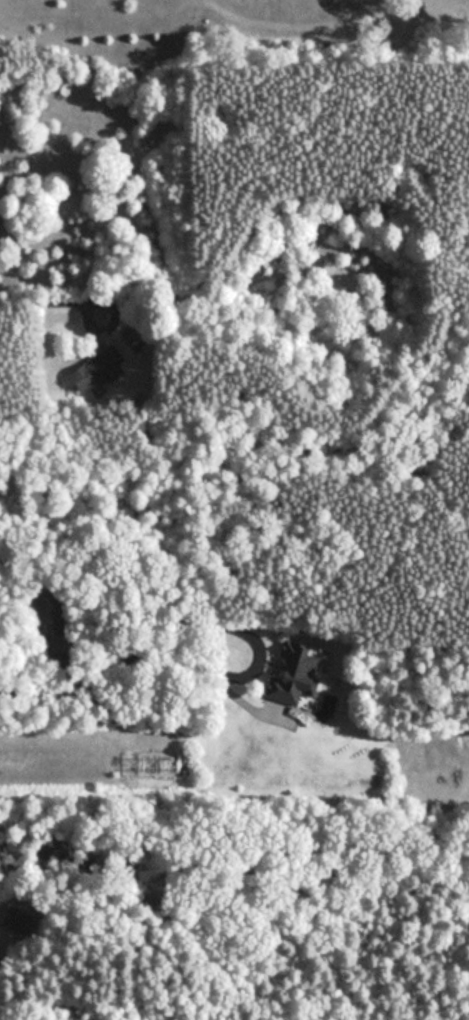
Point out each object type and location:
road: (50, 300)
building: (100, 364)
building: (297, 683)
power tower: (196, 769)
building: (15, 921)

